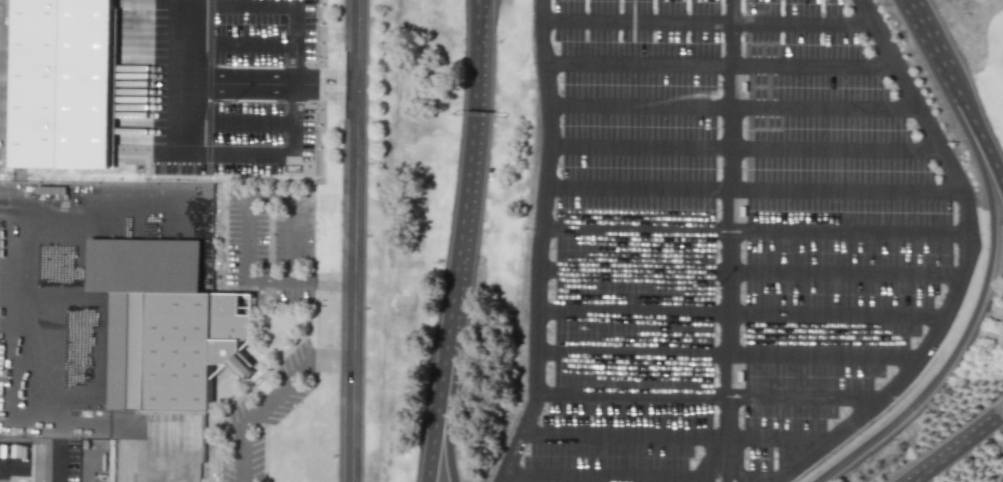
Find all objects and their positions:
road: (638, 20)
road: (99, 21)
road: (804, 23)
road: (295, 38)
road: (929, 39)
road: (640, 63)
road: (814, 63)
road: (325, 76)
road: (107, 80)
road: (214, 81)
road: (254, 81)
road: (254, 82)
road: (295, 84)
road: (325, 93)
road: (642, 106)
parking lot: (174, 107)
road: (826, 109)
road: (106, 121)
road: (977, 134)
road: (470, 147)
road: (640, 148)
road: (836, 149)
road: (182, 162)
road: (639, 188)
road: (846, 189)
road: (24, 214)
road: (636, 229)
road: (850, 230)
road: (731, 233)
parking lot: (836, 234)
road: (353, 240)
railway: (447, 241)
airport: (501, 241)
road: (243, 244)
road: (293, 244)
road: (540, 244)
parking lot: (271, 245)
parking lot: (628, 245)
road: (967, 267)
road: (635, 271)
road: (848, 274)
road: (279, 282)
road: (334, 282)
road: (975, 308)
road: (633, 314)
road: (836, 318)
building: (181, 348)
road: (632, 353)
road: (825, 353)
road: (454, 387)
road: (439, 388)
road: (631, 392)
road: (808, 392)
road: (272, 400)
parking lot: (266, 412)
road: (1001, 417)
road: (627, 436)
road: (778, 439)
road: (957, 450)
road: (215, 451)
road: (712, 467)
road: (608, 474)
road: (728, 474)
road: (736, 474)

